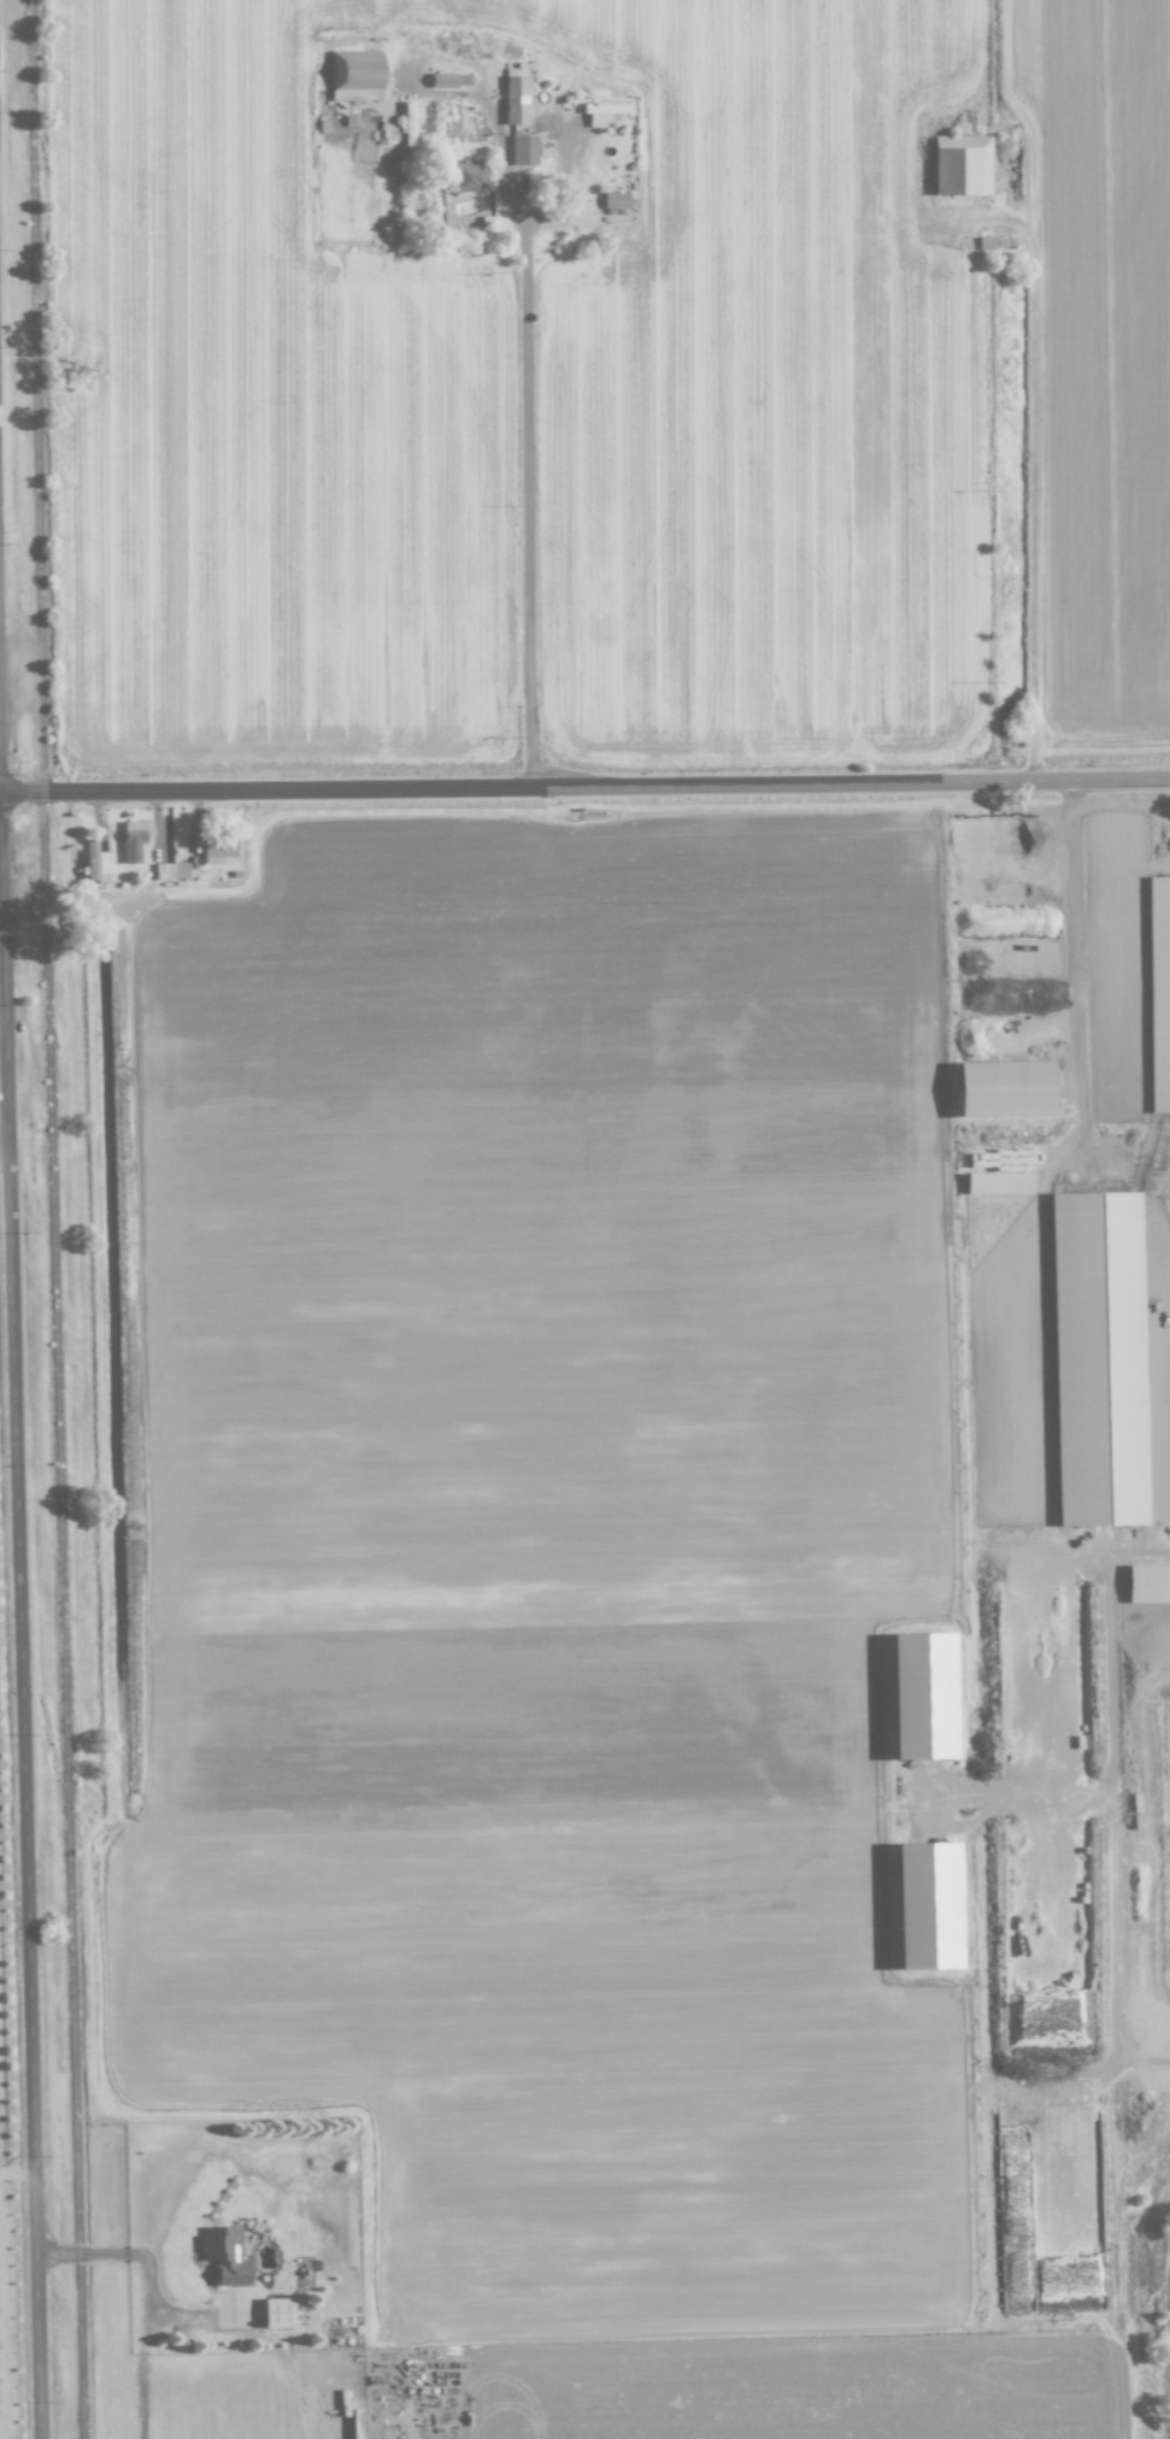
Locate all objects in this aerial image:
building: (354, 76)
building: (442, 81)
building: (513, 95)
building: (604, 112)
building: (407, 123)
building: (387, 131)
building: (523, 151)
building: (960, 165)
building: (468, 177)
building: (615, 200)
road: (527, 415)
road: (1034, 496)
road: (584, 786)
road: (1107, 804)
building: (133, 839)
building: (218, 852)
building: (94, 862)
building: (170, 871)
building: (1159, 953)
building: (1001, 1089)
building: (996, 1183)
building: (1098, 1232)
building: (1099, 1480)
road: (19, 1515)
building: (1147, 1585)
building: (919, 1697)
building: (924, 1905)
road: (81, 2255)
building: (224, 2256)
road: (141, 2300)
building: (276, 2312)
road: (141, 2396)

